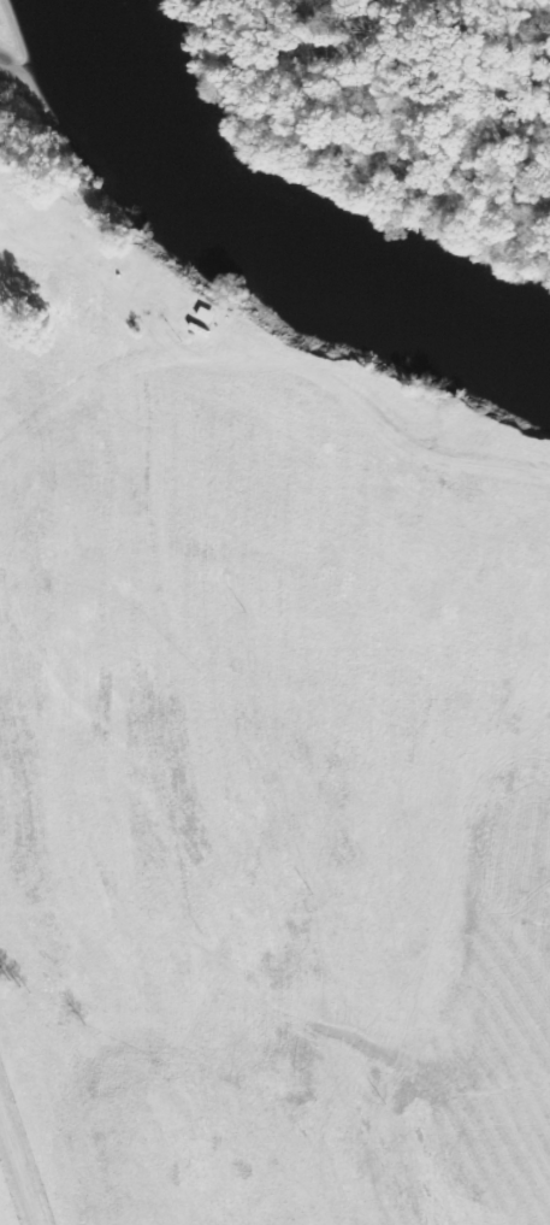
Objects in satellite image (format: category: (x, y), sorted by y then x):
river: (271, 222)
road: (96, 275)
road: (250, 440)
road: (7, 944)
road: (14, 1172)

